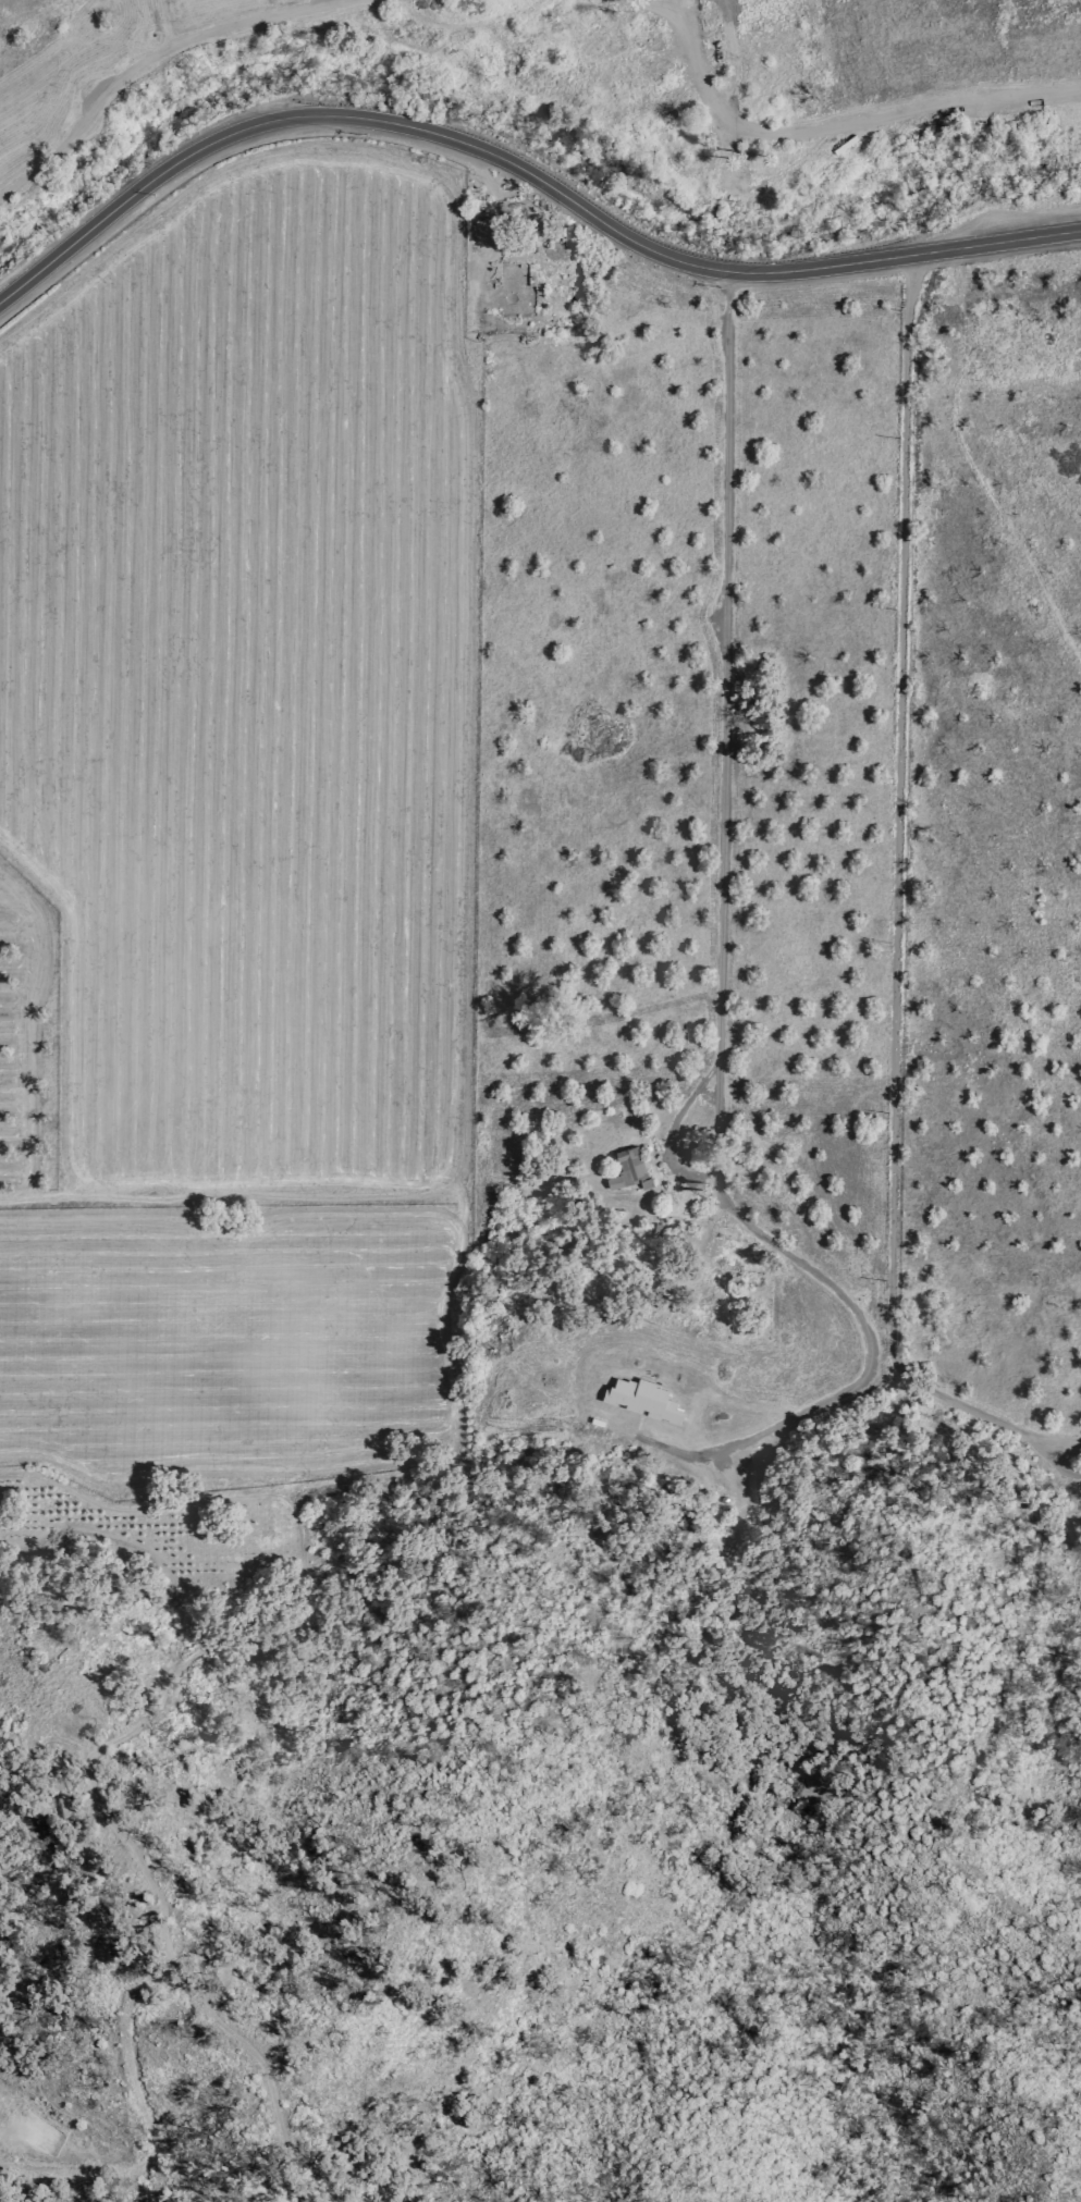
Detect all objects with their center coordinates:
road: (125, 72)
road: (842, 114)
road: (523, 156)
road: (723, 665)
road: (894, 907)
road: (673, 1119)
building: (634, 1172)
road: (857, 1330)
building: (640, 1399)

